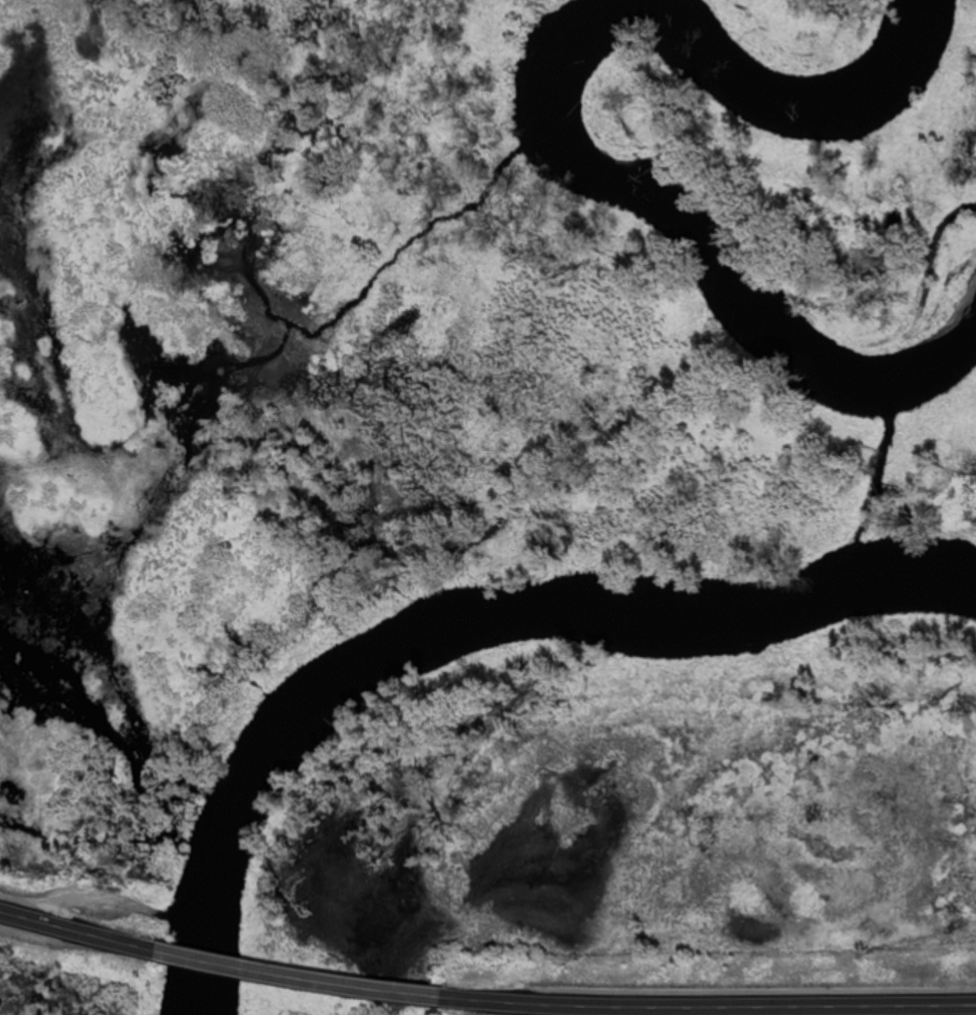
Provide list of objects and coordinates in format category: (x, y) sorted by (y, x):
road: (98, 899)
road: (77, 929)
road: (295, 976)
road: (706, 1005)

